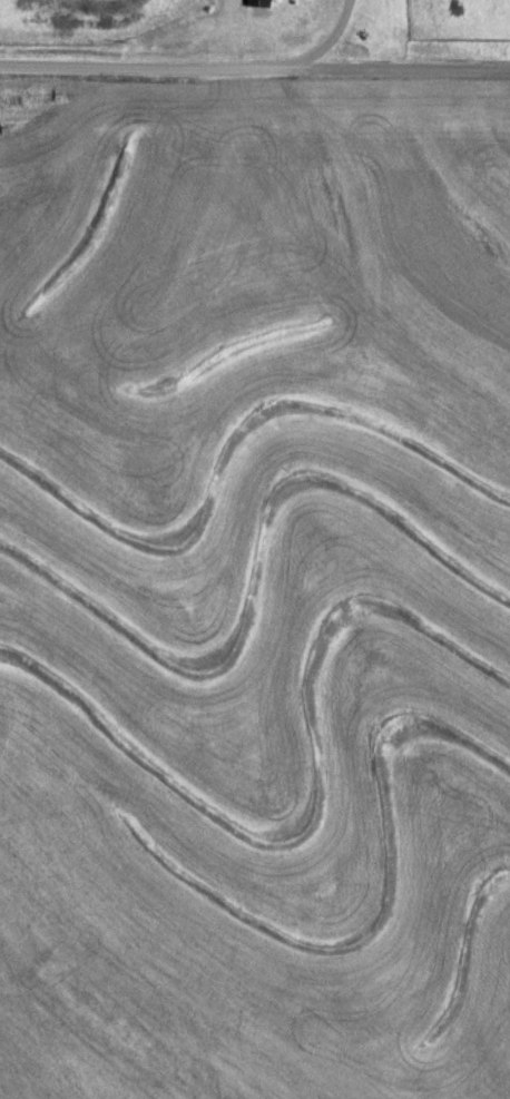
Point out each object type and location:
building: (261, 2)
road: (255, 72)

